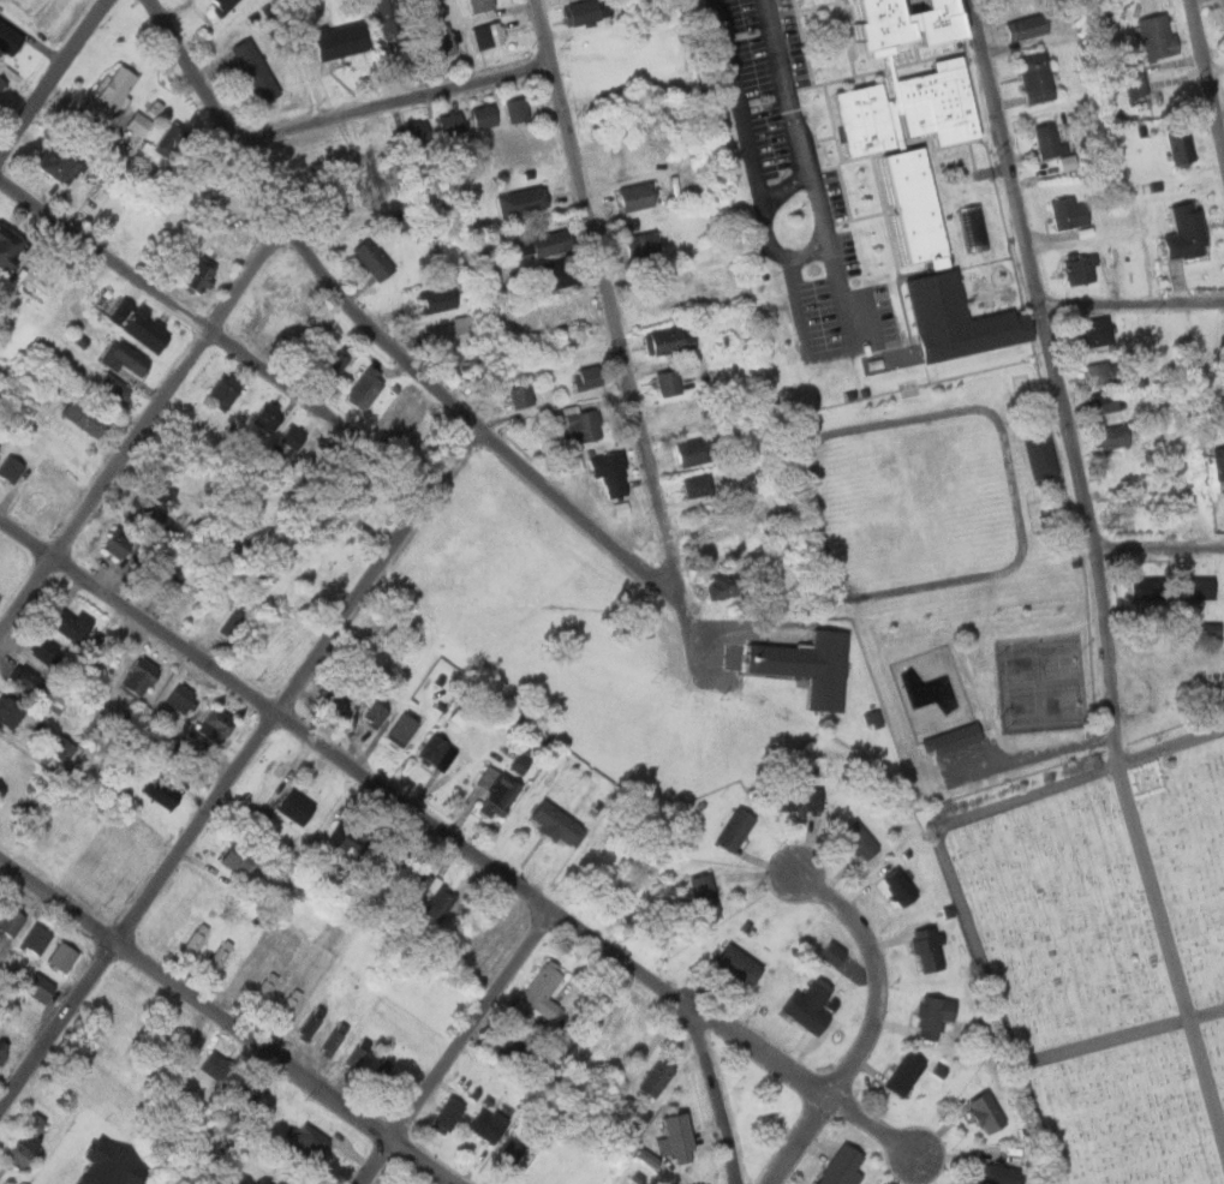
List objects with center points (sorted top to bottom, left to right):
building: (556, 0)
building: (562, 0)
building: (225, 5)
building: (312, 5)
building: (480, 5)
building: (583, 13)
building: (393, 19)
building: (1031, 26)
building: (907, 28)
building: (489, 35)
building: (1160, 35)
building: (10, 37)
building: (342, 40)
building: (444, 41)
road: (1207, 66)
building: (257, 71)
building: (1040, 77)
building: (1136, 79)
road: (56, 80)
building: (4, 84)
building: (115, 91)
road: (790, 91)
road: (393, 102)
road: (741, 104)
building: (519, 109)
building: (910, 113)
building: (486, 116)
building: (141, 124)
building: (452, 124)
building: (420, 132)
building: (174, 138)
building: (1053, 138)
building: (1182, 140)
building: (623, 161)
building: (62, 162)
building: (375, 195)
building: (638, 196)
building: (524, 201)
building: (329, 209)
building: (918, 213)
building: (1071, 213)
road: (768, 217)
building: (390, 223)
building: (1189, 232)
building: (544, 241)
building: (645, 246)
building: (7, 250)
building: (375, 258)
building: (1086, 268)
building: (559, 274)
building: (199, 275)
building: (663, 298)
building: (435, 300)
road: (1133, 301)
road: (348, 307)
building: (119, 310)
building: (567, 313)
road: (616, 315)
building: (959, 323)
building: (151, 330)
building: (1097, 331)
building: (450, 334)
road: (217, 340)
building: (673, 340)
building: (129, 358)
building: (336, 361)
building: (1103, 372)
building: (590, 377)
road: (1061, 381)
building: (671, 382)
building: (1, 387)
building: (366, 387)
building: (115, 389)
building: (226, 395)
building: (523, 395)
building: (1105, 400)
building: (680, 412)
building: (402, 415)
building: (83, 417)
building: (267, 419)
building: (585, 424)
road: (143, 435)
building: (294, 436)
building: (1115, 436)
building: (703, 450)
building: (1041, 452)
road: (450, 464)
building: (1220, 464)
building: (11, 468)
building: (613, 473)
building: (699, 485)
building: (159, 491)
building: (357, 501)
building: (148, 514)
building: (119, 543)
building: (723, 544)
road: (1163, 552)
building: (728, 585)
building: (1198, 586)
building: (1138, 588)
building: (1159, 588)
road: (685, 614)
building: (235, 621)
building: (72, 624)
building: (1206, 629)
building: (95, 645)
building: (47, 651)
building: (810, 666)
building: (141, 677)
building: (28, 681)
building: (181, 699)
building: (339, 700)
building: (10, 712)
building: (376, 713)
building: (214, 728)
building: (404, 730)
building: (954, 740)
building: (61, 749)
building: (438, 753)
building: (517, 763)
building: (497, 793)
building: (162, 797)
building: (802, 799)
road: (412, 807)
building: (298, 808)
road: (214, 813)
building: (560, 824)
building: (736, 829)
building: (859, 839)
building: (239, 857)
building: (387, 865)
road: (951, 869)
building: (410, 886)
building: (901, 887)
building: (706, 896)
building: (434, 904)
building: (10, 920)
building: (35, 939)
building: (195, 940)
road: (1174, 946)
building: (927, 950)
building: (834, 953)
building: (61, 956)
building: (217, 957)
park: (1105, 958)
building: (741, 965)
road: (874, 970)
building: (543, 985)
building: (40, 987)
building: (264, 988)
road: (201, 1001)
building: (288, 1004)
building: (811, 1006)
building: (935, 1015)
building: (311, 1021)
building: (335, 1036)
road: (1122, 1041)
road: (465, 1046)
building: (512, 1048)
building: (2, 1050)
building: (357, 1053)
building: (215, 1066)
building: (382, 1069)
building: (906, 1074)
building: (658, 1077)
building: (247, 1087)
road: (712, 1090)
building: (631, 1110)
building: (986, 1112)
building: (448, 1114)
building: (490, 1123)
road: (871, 1124)
building: (676, 1130)
road: (796, 1138)
building: (25, 1144)
building: (311, 1149)
building: (509, 1156)
building: (644, 1158)
road: (426, 1165)
building: (842, 1165)
building: (113, 1166)
building: (998, 1174)
building: (285, 1180)

